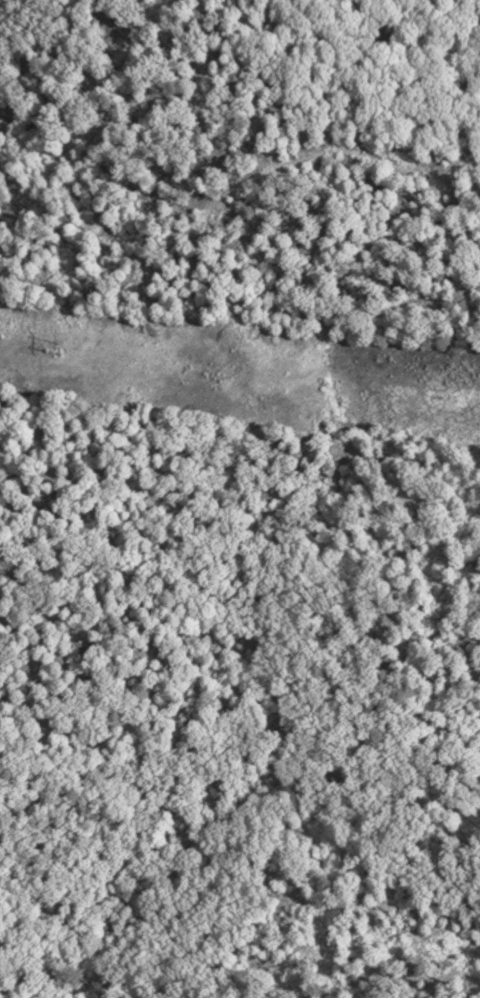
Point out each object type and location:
power tower: (58, 349)

